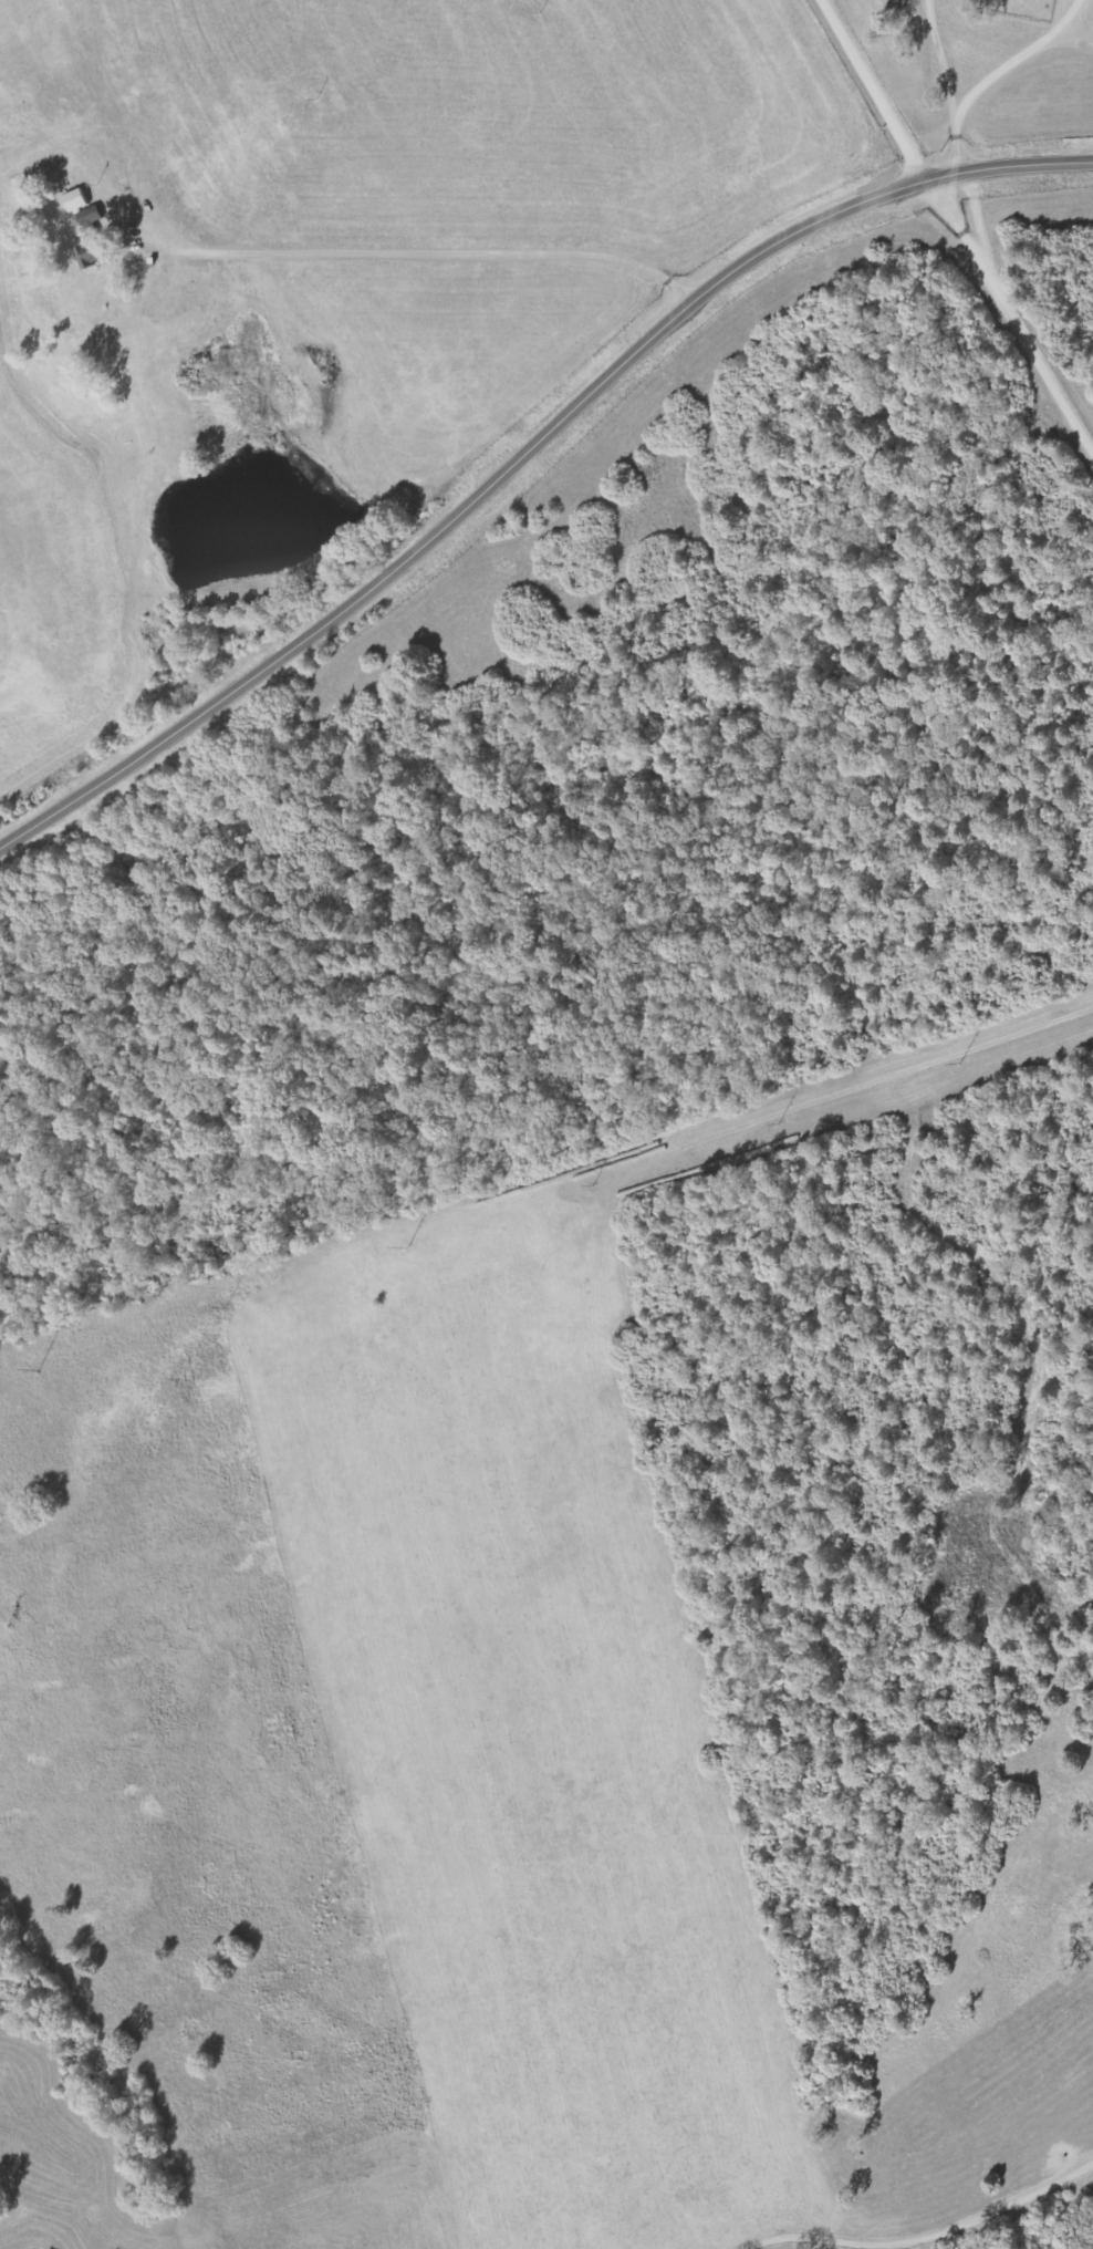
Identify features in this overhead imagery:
road: (863, 94)
building: (77, 201)
building: (94, 222)
road: (441, 255)
building: (84, 259)
road: (1008, 321)
road: (525, 450)
road: (899, 2220)

